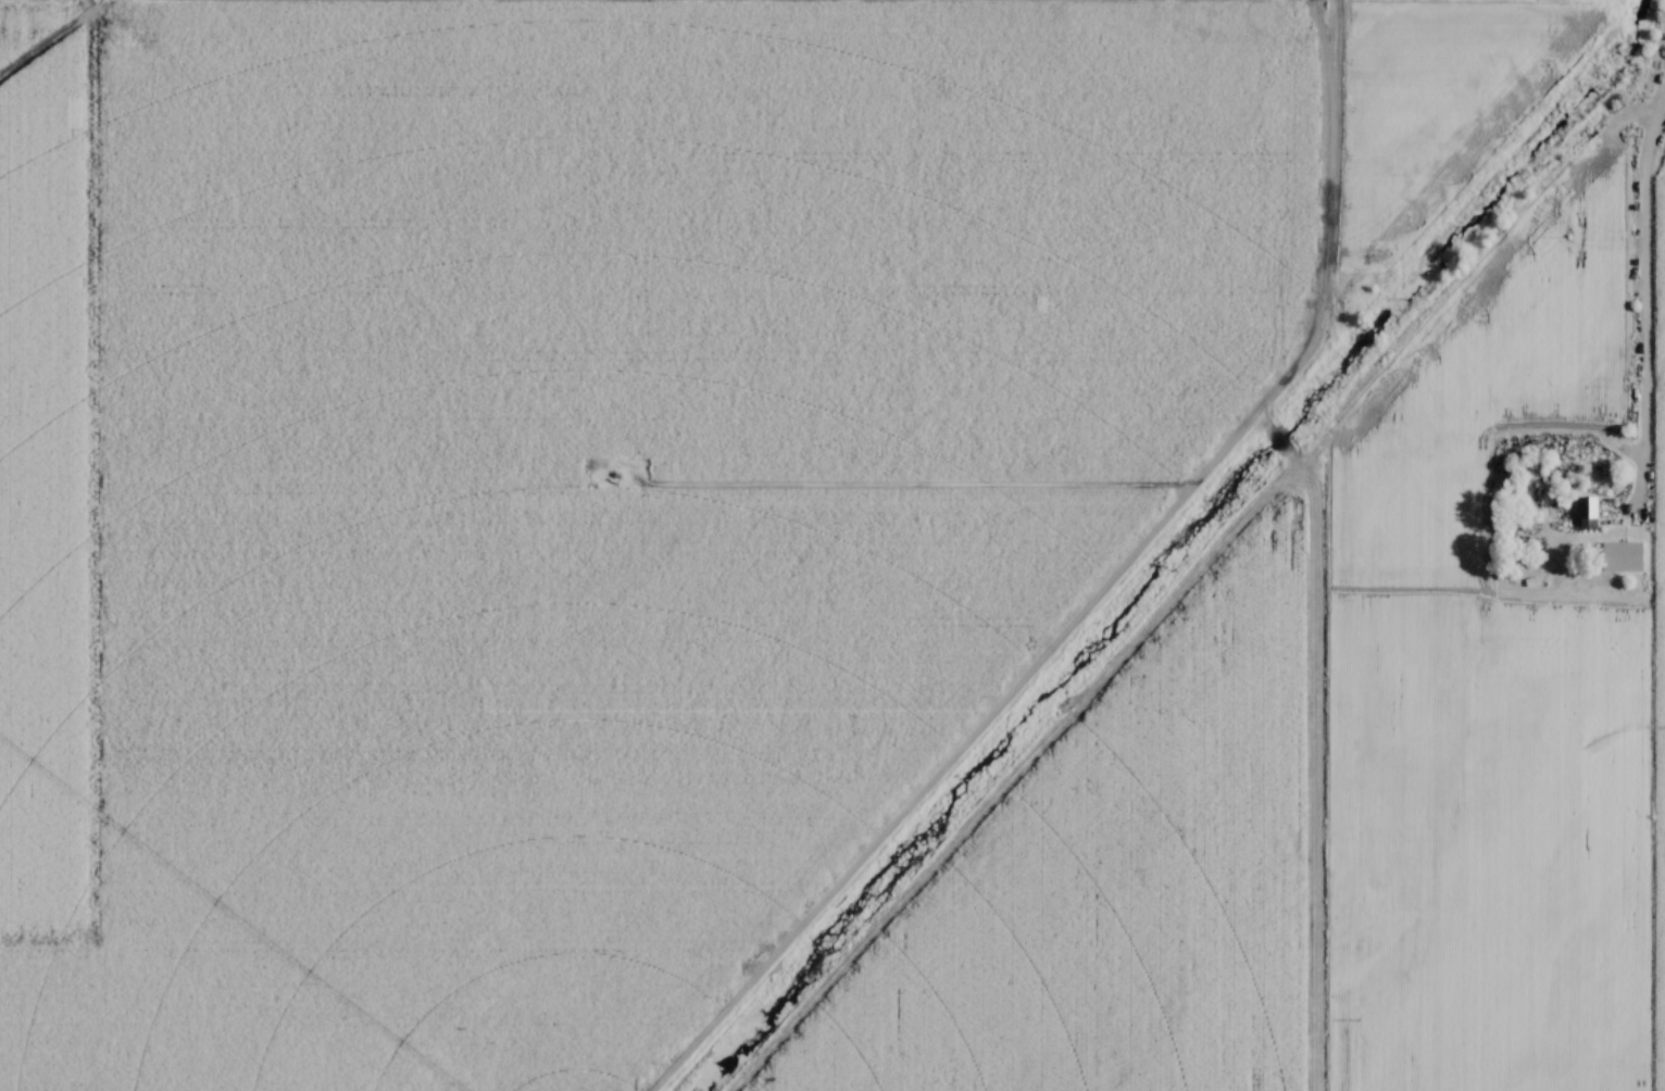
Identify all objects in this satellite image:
road: (1642, 316)
building: (1585, 511)
building: (1624, 557)

